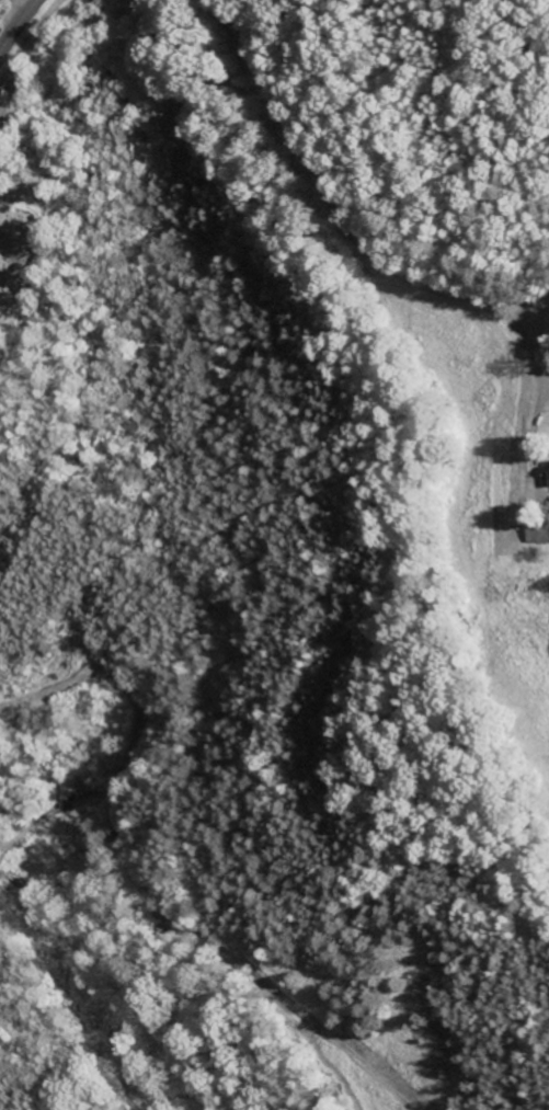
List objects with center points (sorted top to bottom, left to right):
road: (24, 4)
road: (18, 25)
road: (393, 266)
park: (13, 275)
road: (123, 676)

